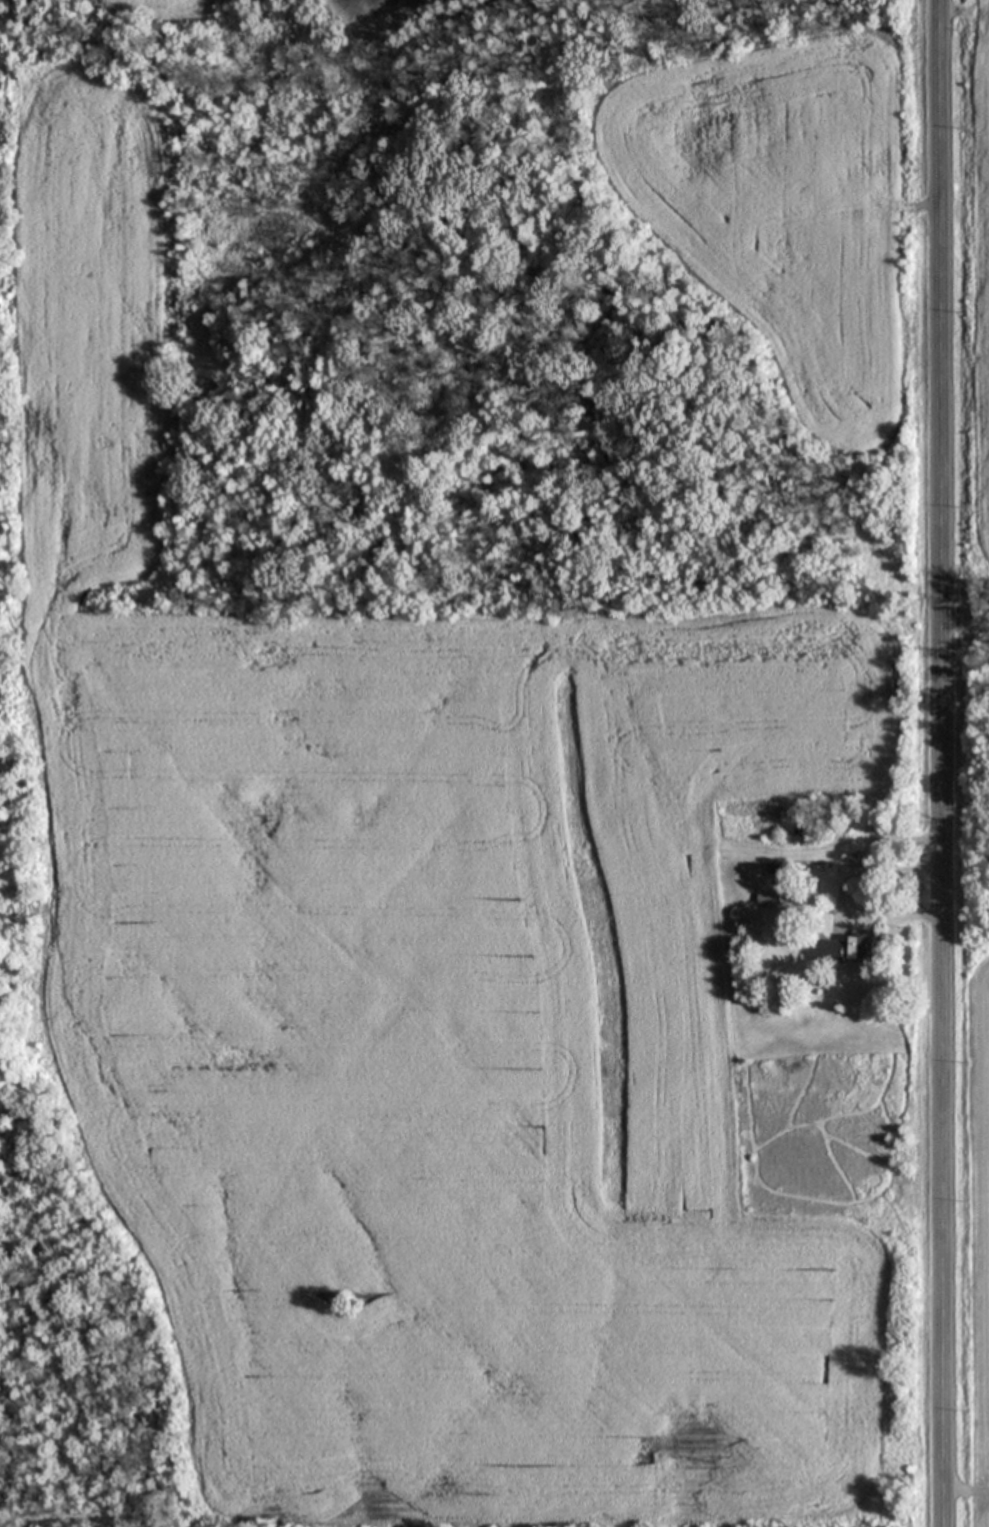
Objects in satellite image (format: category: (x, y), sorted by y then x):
road: (944, 763)
building: (771, 901)
building: (867, 949)
building: (835, 953)

